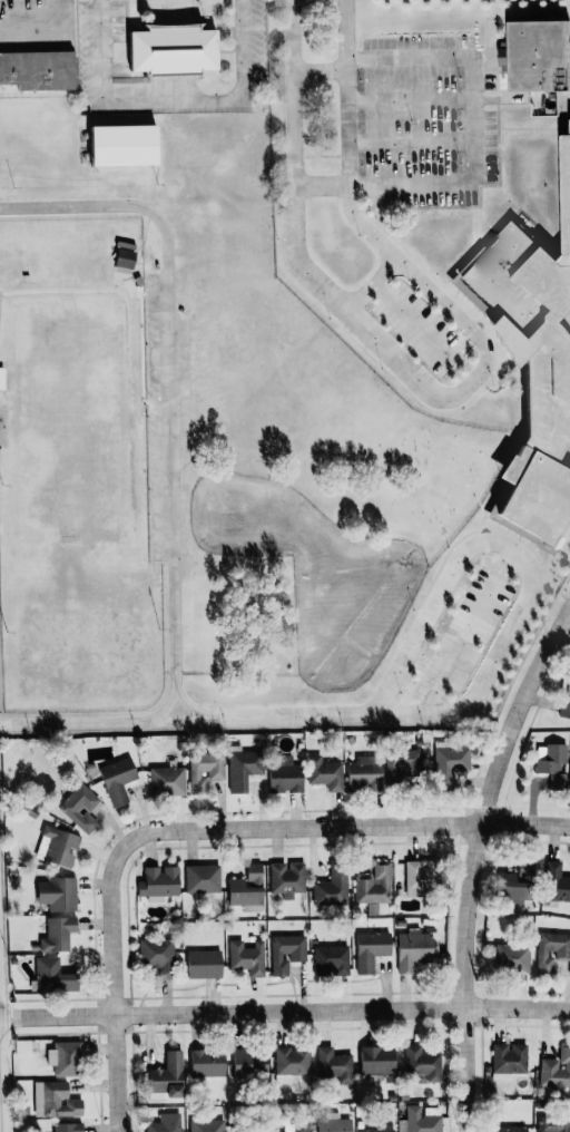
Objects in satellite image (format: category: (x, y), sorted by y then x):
road: (41, 25)
building: (168, 49)
building: (532, 56)
road: (322, 68)
building: (38, 70)
road: (170, 101)
road: (473, 117)
building: (118, 145)
road: (321, 184)
building: (121, 257)
road: (374, 282)
road: (415, 316)
building: (533, 365)
building: (0, 378)
road: (452, 396)
road: (173, 477)
road: (531, 582)
road: (568, 618)
road: (468, 630)
building: (566, 700)
road: (255, 718)
building: (401, 762)
building: (552, 763)
building: (449, 764)
building: (243, 769)
building: (204, 771)
building: (364, 772)
building: (324, 773)
building: (285, 775)
building: (117, 779)
building: (166, 780)
building: (79, 807)
road: (266, 827)
building: (57, 846)
road: (469, 861)
building: (420, 877)
building: (202, 878)
building: (286, 878)
building: (158, 882)
building: (556, 882)
building: (332, 887)
building: (373, 887)
building: (513, 887)
building: (246, 889)
building: (57, 894)
building: (58, 935)
building: (370, 949)
building: (551, 949)
building: (412, 950)
building: (286, 953)
building: (157, 955)
building: (246, 957)
building: (511, 958)
building: (331, 960)
building: (203, 964)
building: (52, 976)
road: (285, 1006)
building: (63, 1057)
building: (508, 1061)
building: (207, 1063)
building: (291, 1063)
building: (422, 1063)
building: (248, 1064)
building: (334, 1065)
road: (124, 1070)
building: (556, 1070)
building: (167, 1077)
building: (55, 1100)
building: (421, 1120)
building: (165, 1123)
building: (206, 1125)
building: (553, 1125)
building: (296, 1126)
building: (381, 1126)
building: (67, 1128)
building: (509, 1129)

